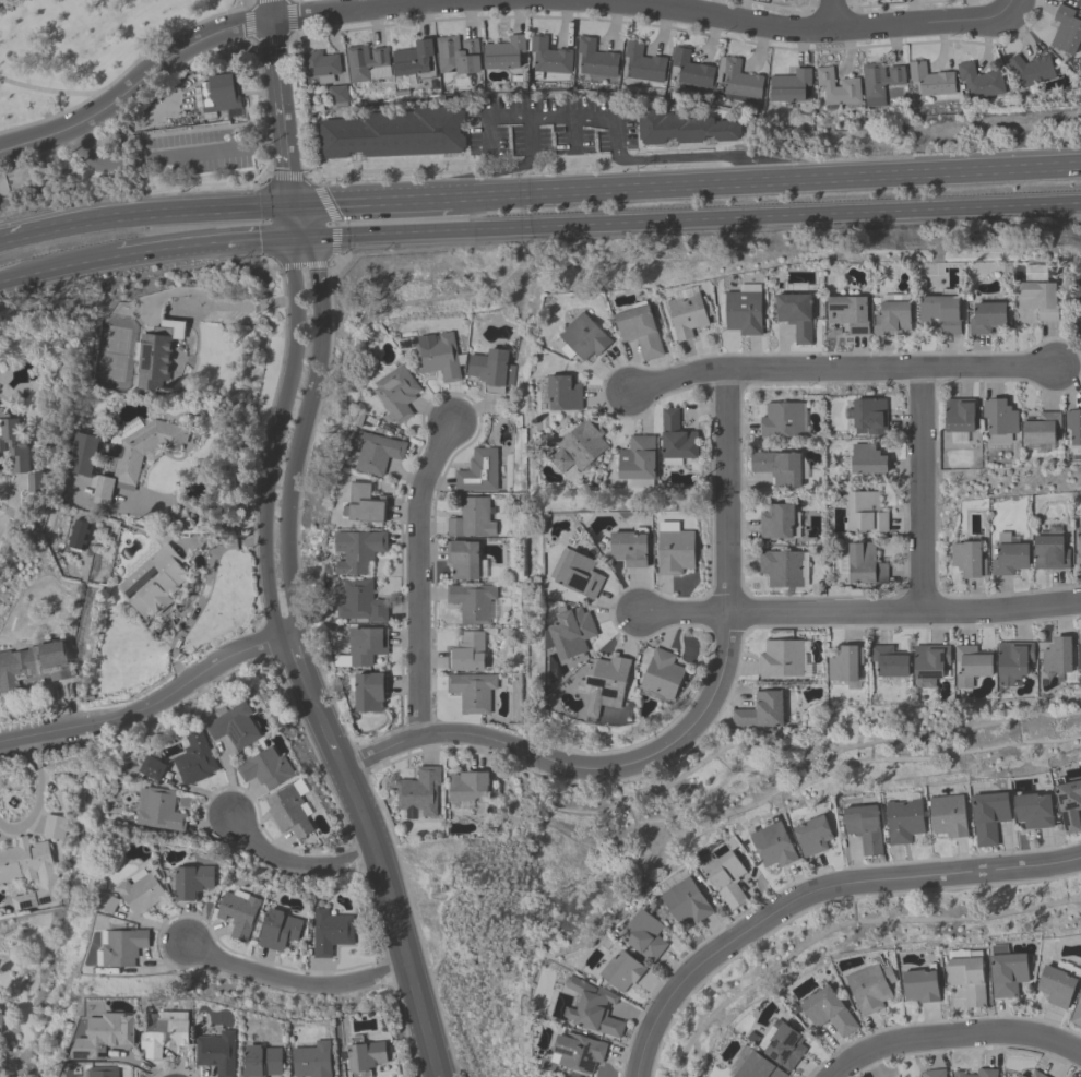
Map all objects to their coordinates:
building: (786, 0)
building: (1078, 3)
road: (1006, 4)
road: (249, 11)
road: (830, 15)
road: (795, 28)
building: (1066, 28)
road: (211, 35)
park: (80, 47)
building: (503, 51)
building: (456, 55)
building: (547, 57)
building: (412, 58)
building: (595, 58)
building: (642, 62)
building: (366, 63)
building: (320, 65)
building: (690, 69)
building: (1029, 70)
building: (930, 79)
building: (739, 80)
building: (978, 81)
building: (878, 82)
building: (789, 85)
building: (836, 87)
road: (58, 93)
building: (218, 93)
building: (336, 95)
road: (280, 103)
road: (611, 119)
building: (680, 125)
building: (393, 132)
road: (143, 159)
road: (767, 180)
road: (373, 201)
traffic signals: (295, 205)
road: (164, 214)
road: (691, 218)
road: (17, 239)
traffic signals: (304, 241)
road: (209, 248)
road: (56, 268)
building: (1037, 297)
road: (308, 300)
building: (1080, 304)
building: (686, 311)
building: (740, 311)
building: (848, 311)
building: (939, 311)
building: (795, 314)
building: (892, 314)
building: (985, 316)
building: (639, 330)
building: (581, 337)
building: (156, 354)
building: (437, 355)
building: (491, 369)
road: (843, 370)
building: (396, 392)
building: (562, 393)
building: (866, 416)
building: (958, 418)
building: (781, 419)
building: (998, 419)
building: (1073, 424)
building: (1040, 428)
building: (675, 439)
building: (12, 442)
building: (579, 445)
building: (377, 452)
building: (82, 453)
building: (135, 455)
building: (866, 458)
building: (637, 462)
building: (779, 466)
building: (477, 470)
road: (920, 491)
building: (366, 502)
building: (865, 512)
road: (274, 514)
road: (210, 517)
building: (471, 518)
building: (775, 520)
road: (725, 530)
building: (78, 534)
building: (1078, 543)
building: (629, 548)
building: (674, 548)
building: (358, 550)
building: (1049, 552)
building: (1008, 555)
building: (462, 558)
building: (967, 558)
building: (860, 563)
building: (781, 567)
road: (418, 572)
building: (577, 572)
building: (153, 582)
building: (361, 601)
building: (471, 601)
road: (859, 613)
building: (571, 631)
building: (1080, 642)
building: (366, 644)
building: (466, 651)
building: (1080, 654)
building: (1057, 655)
road: (297, 658)
building: (780, 658)
building: (888, 660)
building: (1012, 661)
building: (928, 662)
building: (34, 663)
building: (844, 665)
building: (970, 665)
building: (661, 675)
building: (606, 680)
building: (369, 691)
building: (472, 691)
road: (314, 701)
road: (151, 708)
building: (592, 710)
building: (759, 713)
building: (235, 726)
road: (333, 745)
road: (540, 754)
building: (195, 758)
building: (153, 767)
building: (265, 768)
building: (467, 786)
building: (418, 792)
building: (1069, 804)
building: (157, 809)
building: (289, 809)
building: (1033, 810)
building: (948, 814)
building: (988, 815)
building: (904, 818)
building: (864, 827)
building: (812, 835)
building: (772, 845)
road: (298, 864)
building: (28, 872)
building: (726, 877)
building: (191, 881)
building: (140, 890)
road: (816, 891)
building: (685, 901)
building: (106, 902)
building: (237, 913)
road: (397, 921)
building: (277, 930)
building: (330, 931)
building: (643, 934)
building: (122, 947)
building: (621, 970)
building: (1007, 973)
building: (967, 974)
road: (296, 983)
building: (870, 984)
building: (920, 984)
building: (1056, 985)
building: (592, 1008)
building: (827, 1009)
building: (1076, 1012)
building: (1, 1020)
building: (161, 1034)
building: (103, 1036)
road: (949, 1040)
building: (782, 1044)
building: (216, 1052)
building: (577, 1052)
building: (364, 1055)
building: (312, 1060)
building: (261, 1061)
building: (752, 1065)
building: (103, 1072)
building: (986, 1072)
building: (932, 1073)
building: (1035, 1074)
building: (1021, 1076)
building: (1071, 1076)

